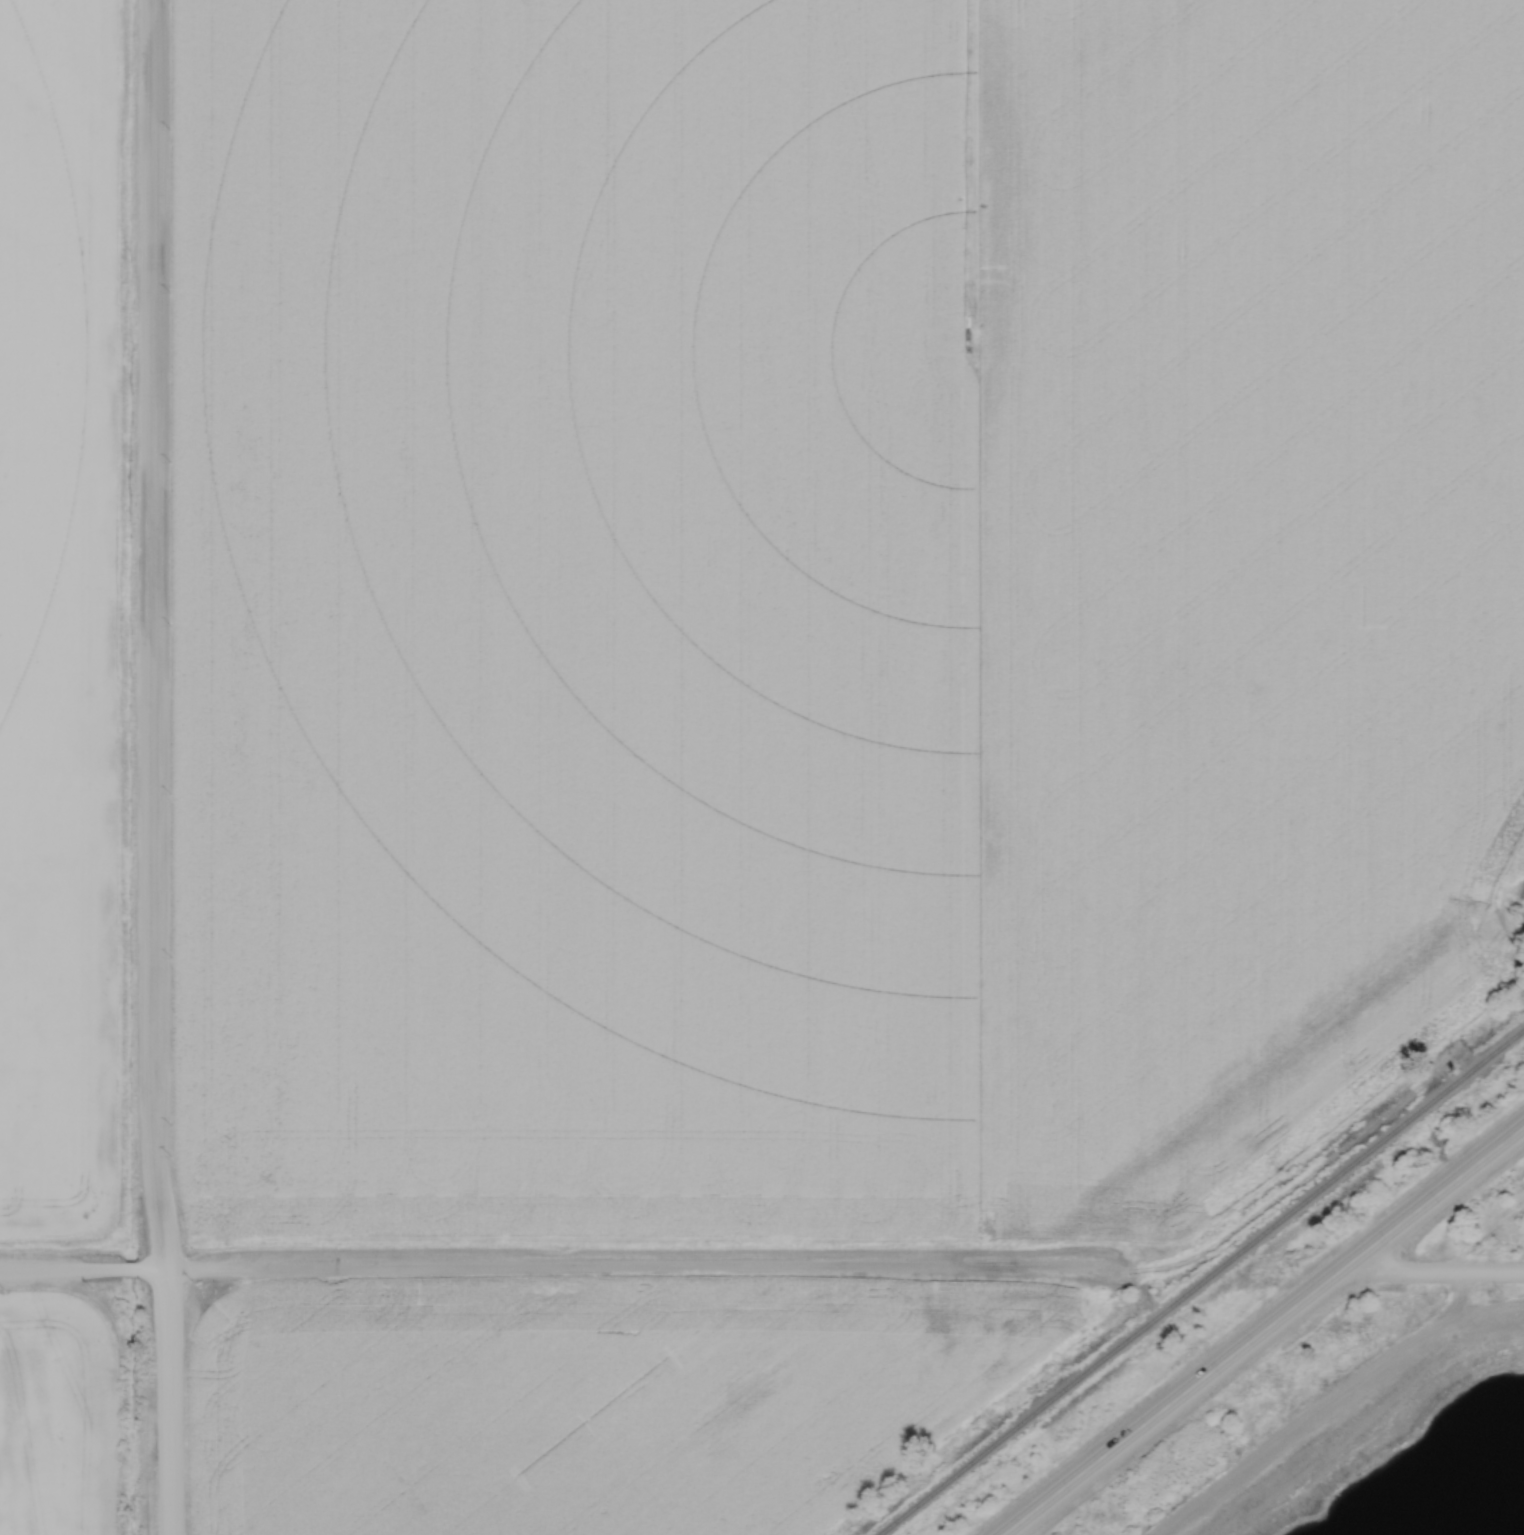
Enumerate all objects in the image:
road: (150, 767)
road: (1443, 1185)
road: (568, 1262)
road: (1439, 1273)
railway: (1201, 1281)
road: (1181, 1391)

